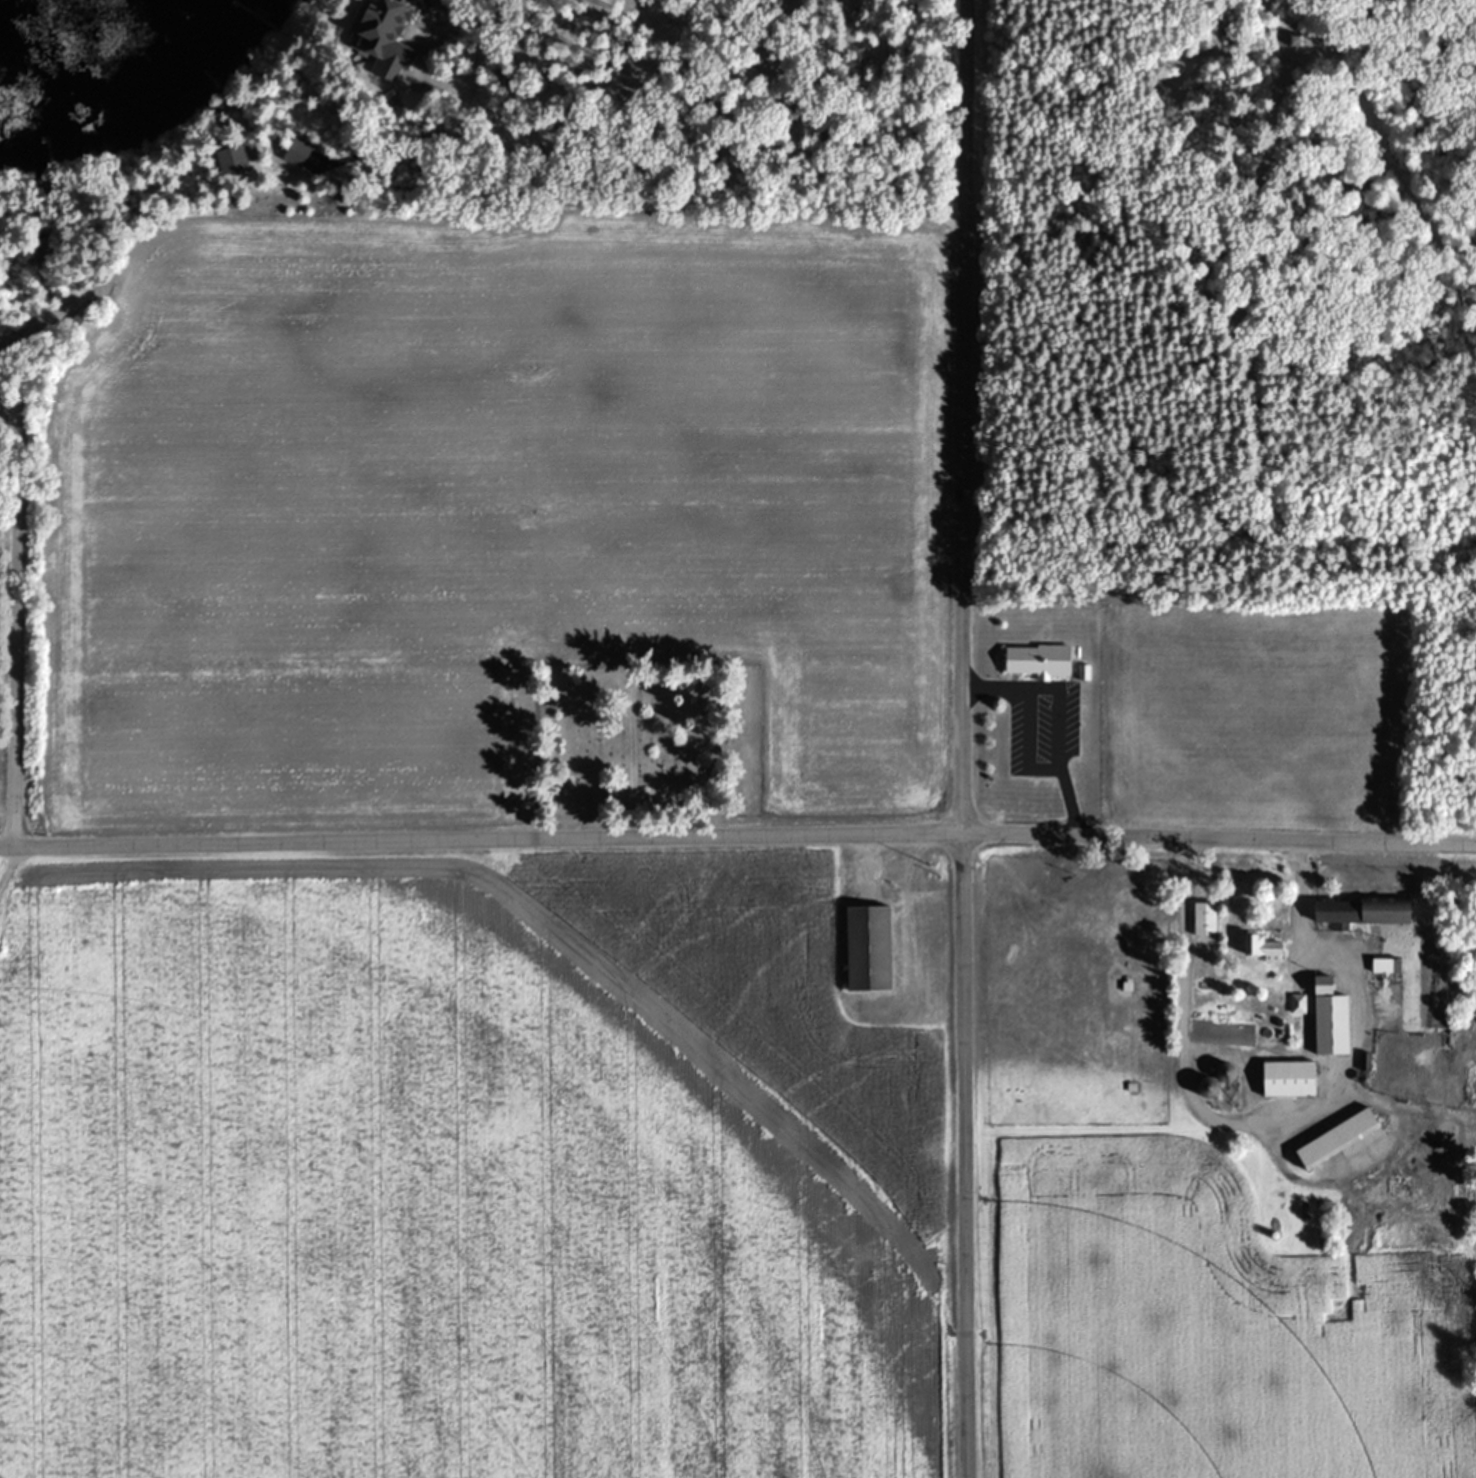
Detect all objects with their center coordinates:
road: (495, 15)
building: (383, 35)
road: (1228, 51)
road: (820, 128)
building: (297, 153)
building: (232, 160)
road: (1193, 176)
road: (1097, 261)
road: (24, 630)
building: (703, 695)
road: (1053, 716)
building: (1018, 730)
road: (962, 738)
road: (738, 834)
building: (1364, 910)
building: (1204, 918)
building: (1261, 946)
building: (868, 947)
building: (1385, 964)
building: (1323, 984)
building: (1338, 1030)
building: (1364, 1061)
building: (1288, 1078)
building: (1209, 1087)
road: (1272, 1115)
building: (1337, 1137)

